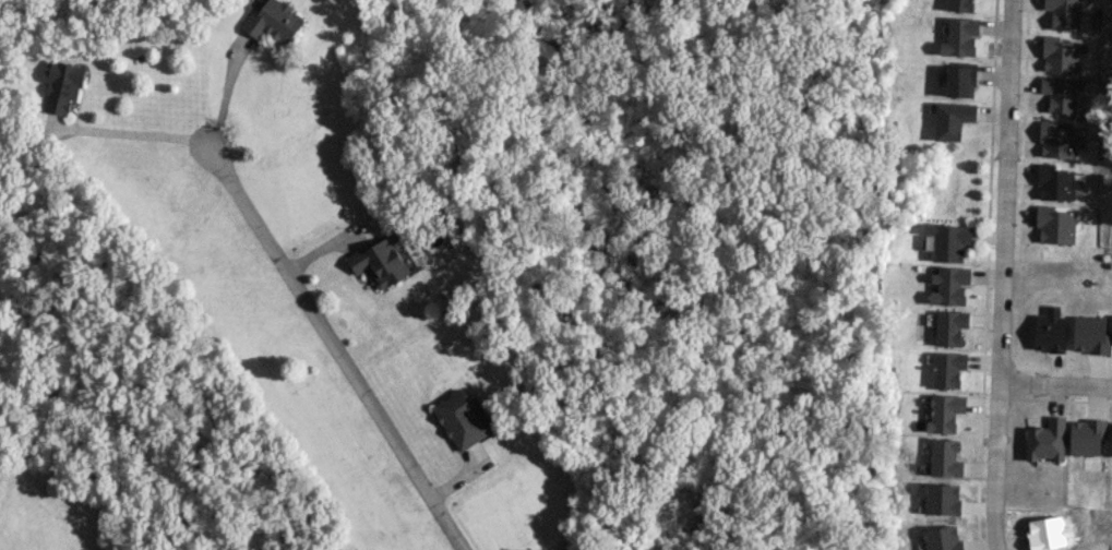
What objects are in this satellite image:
building: (959, 5)
building: (1063, 13)
building: (275, 21)
building: (960, 36)
building: (1061, 53)
building: (960, 80)
building: (63, 85)
building: (1061, 93)
road: (225, 96)
building: (952, 119)
road: (135, 133)
building: (1057, 140)
building: (1056, 182)
road: (1004, 190)
building: (1054, 225)
building: (948, 240)
building: (382, 260)
building: (949, 285)
building: (950, 326)
building: (1050, 330)
building: (1090, 334)
road: (337, 350)
building: (948, 369)
road: (1055, 383)
building: (945, 411)
building: (463, 418)
building: (1087, 435)
building: (1047, 440)
building: (946, 457)
road: (995, 465)
building: (943, 499)
building: (943, 538)

